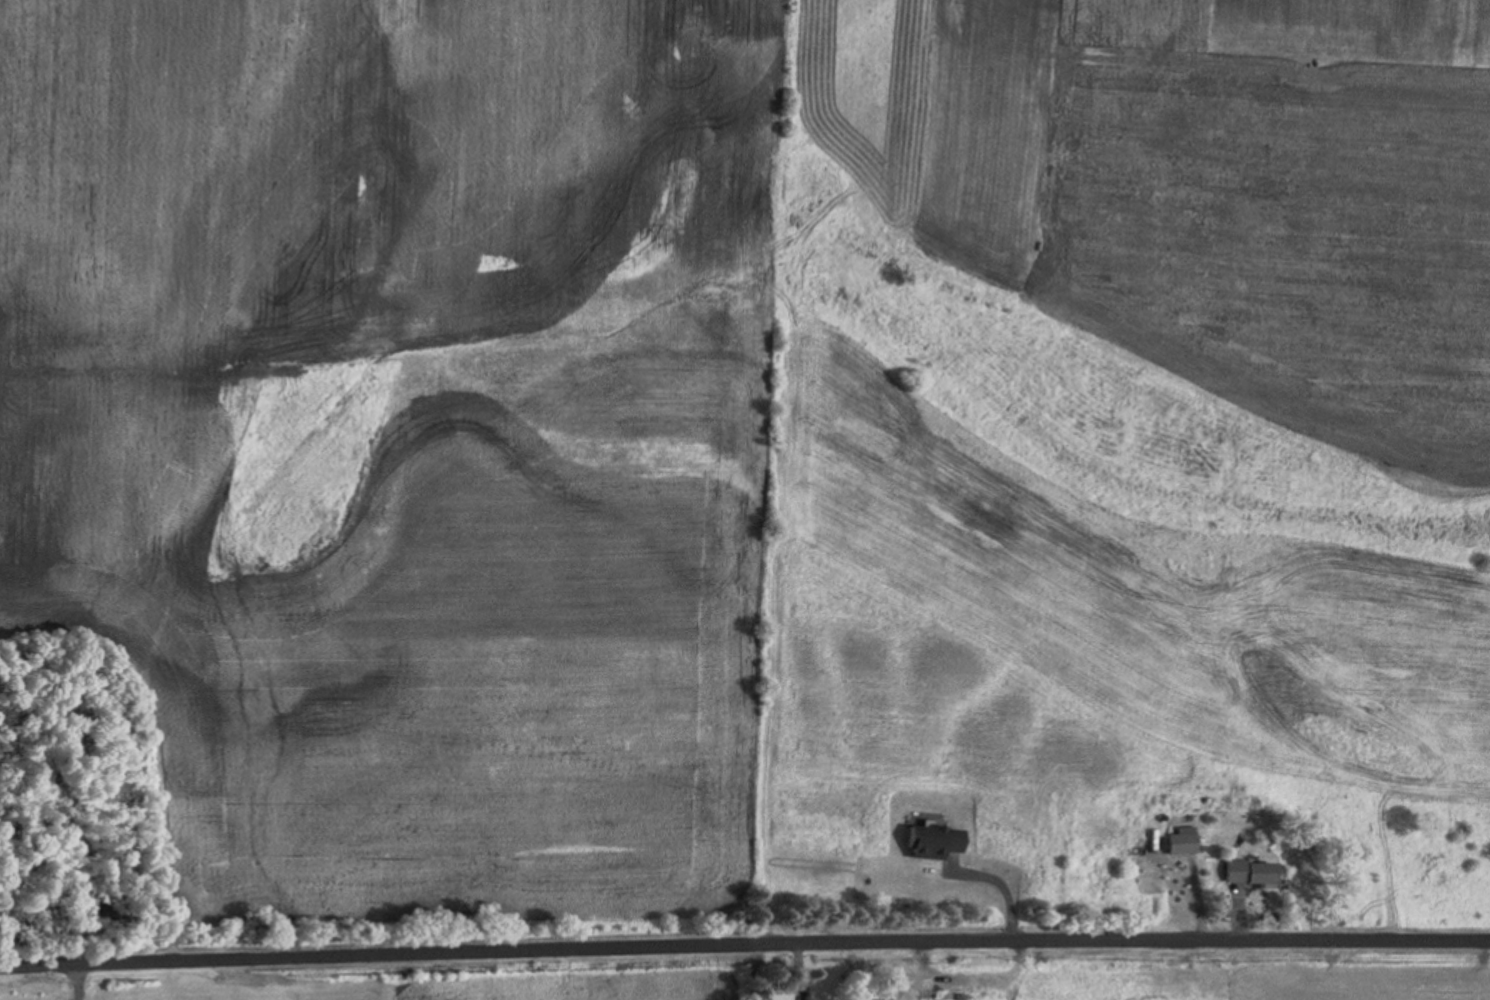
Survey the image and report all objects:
building: (933, 841)
building: (1250, 872)
road: (745, 946)
road: (86, 977)
building: (780, 990)
building: (878, 994)

